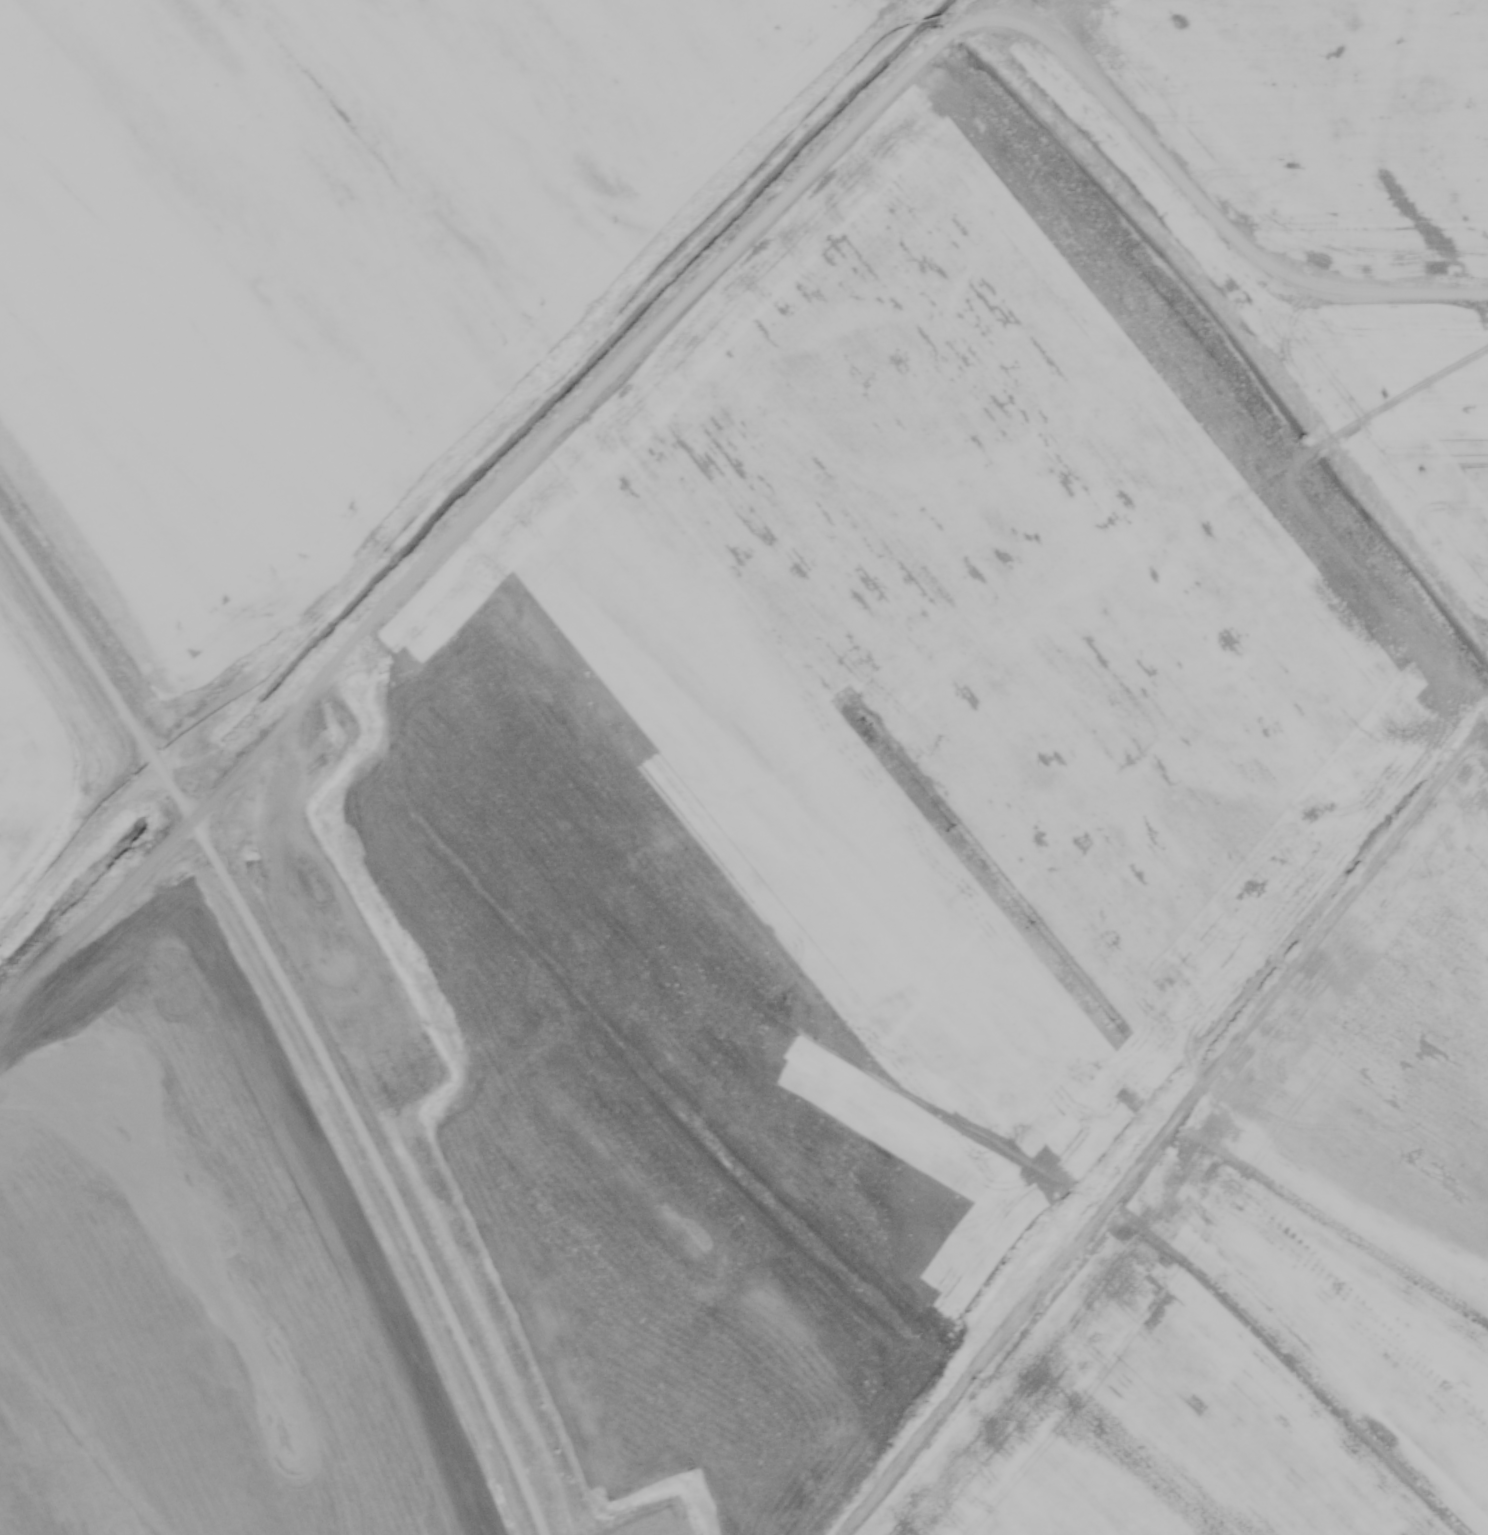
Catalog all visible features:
road: (701, 278)
crop: (27, 757)
road: (304, 1009)

